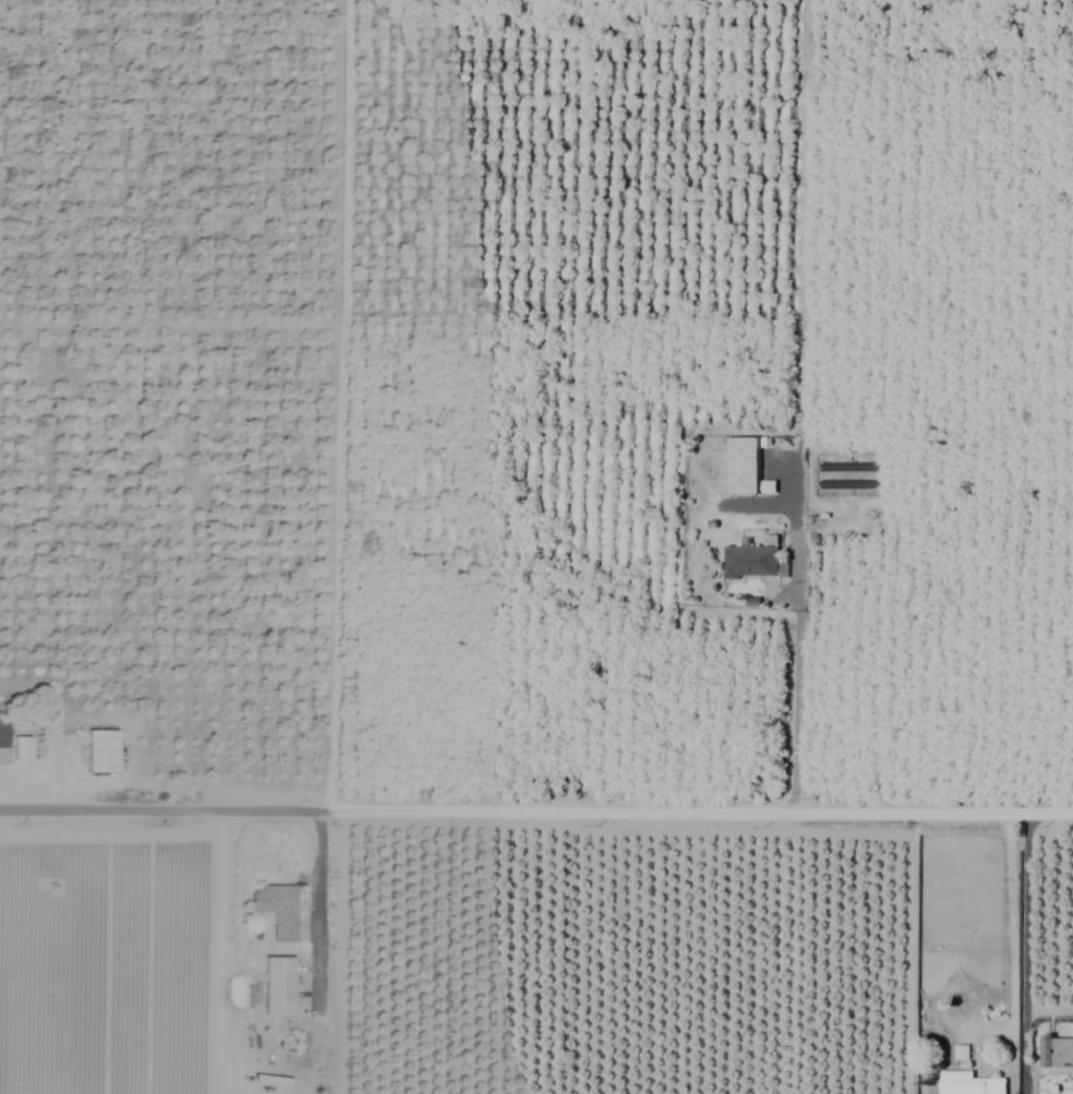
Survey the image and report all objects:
building: (744, 466)
crop: (536, 546)
building: (750, 562)
road: (795, 689)
road: (536, 809)
building: (275, 910)
road: (320, 952)
road: (1018, 952)

